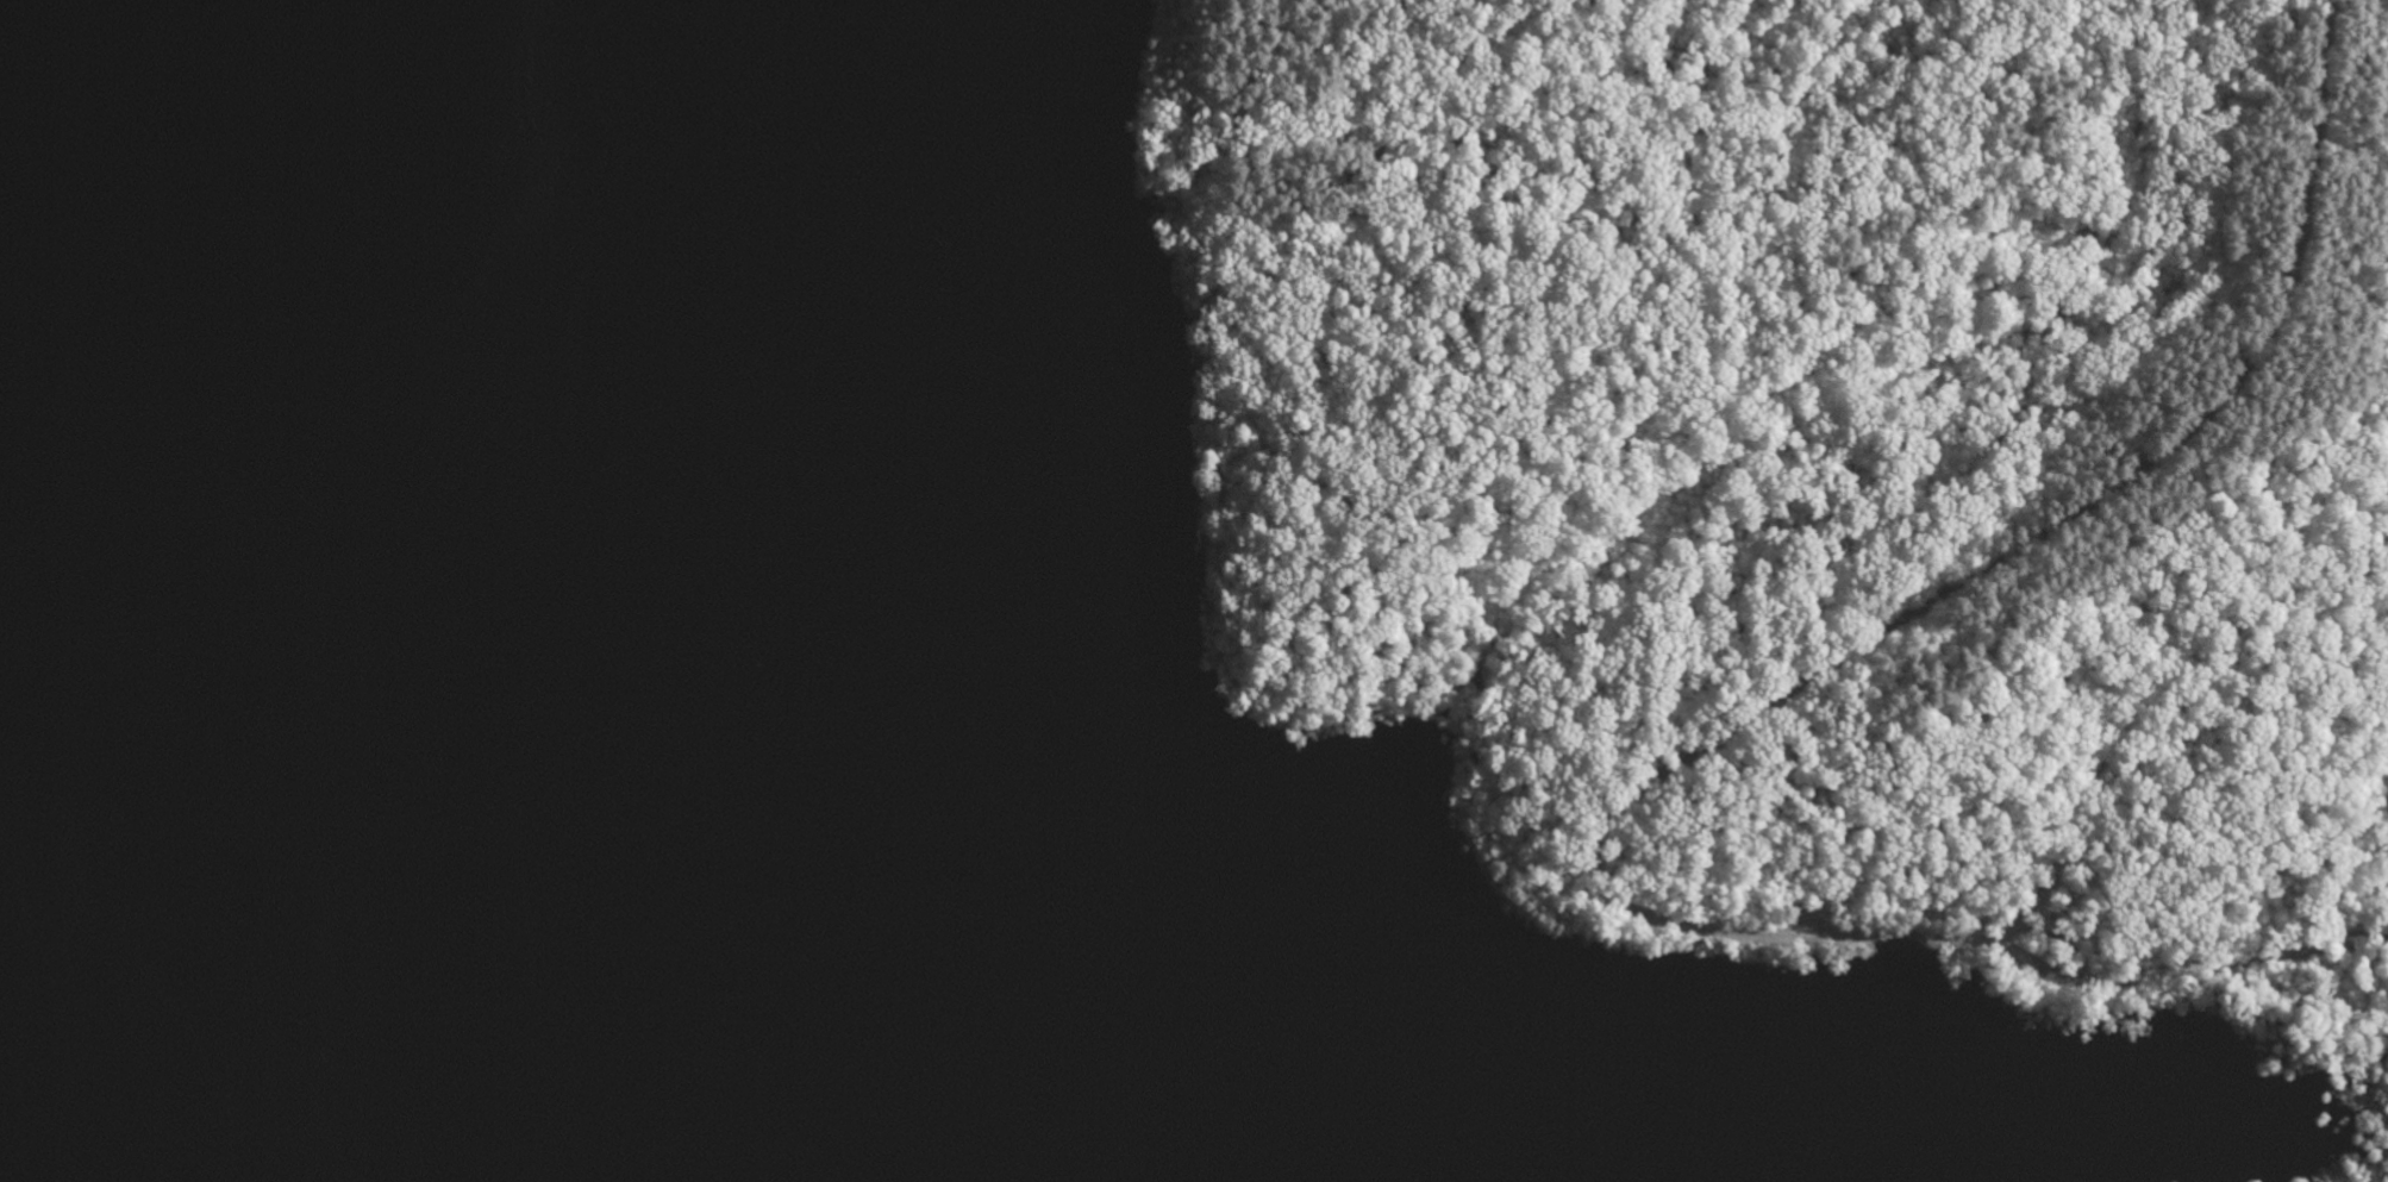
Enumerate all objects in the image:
road: (1789, 275)
road: (2048, 533)
river: (352, 602)
road: (2006, 946)

